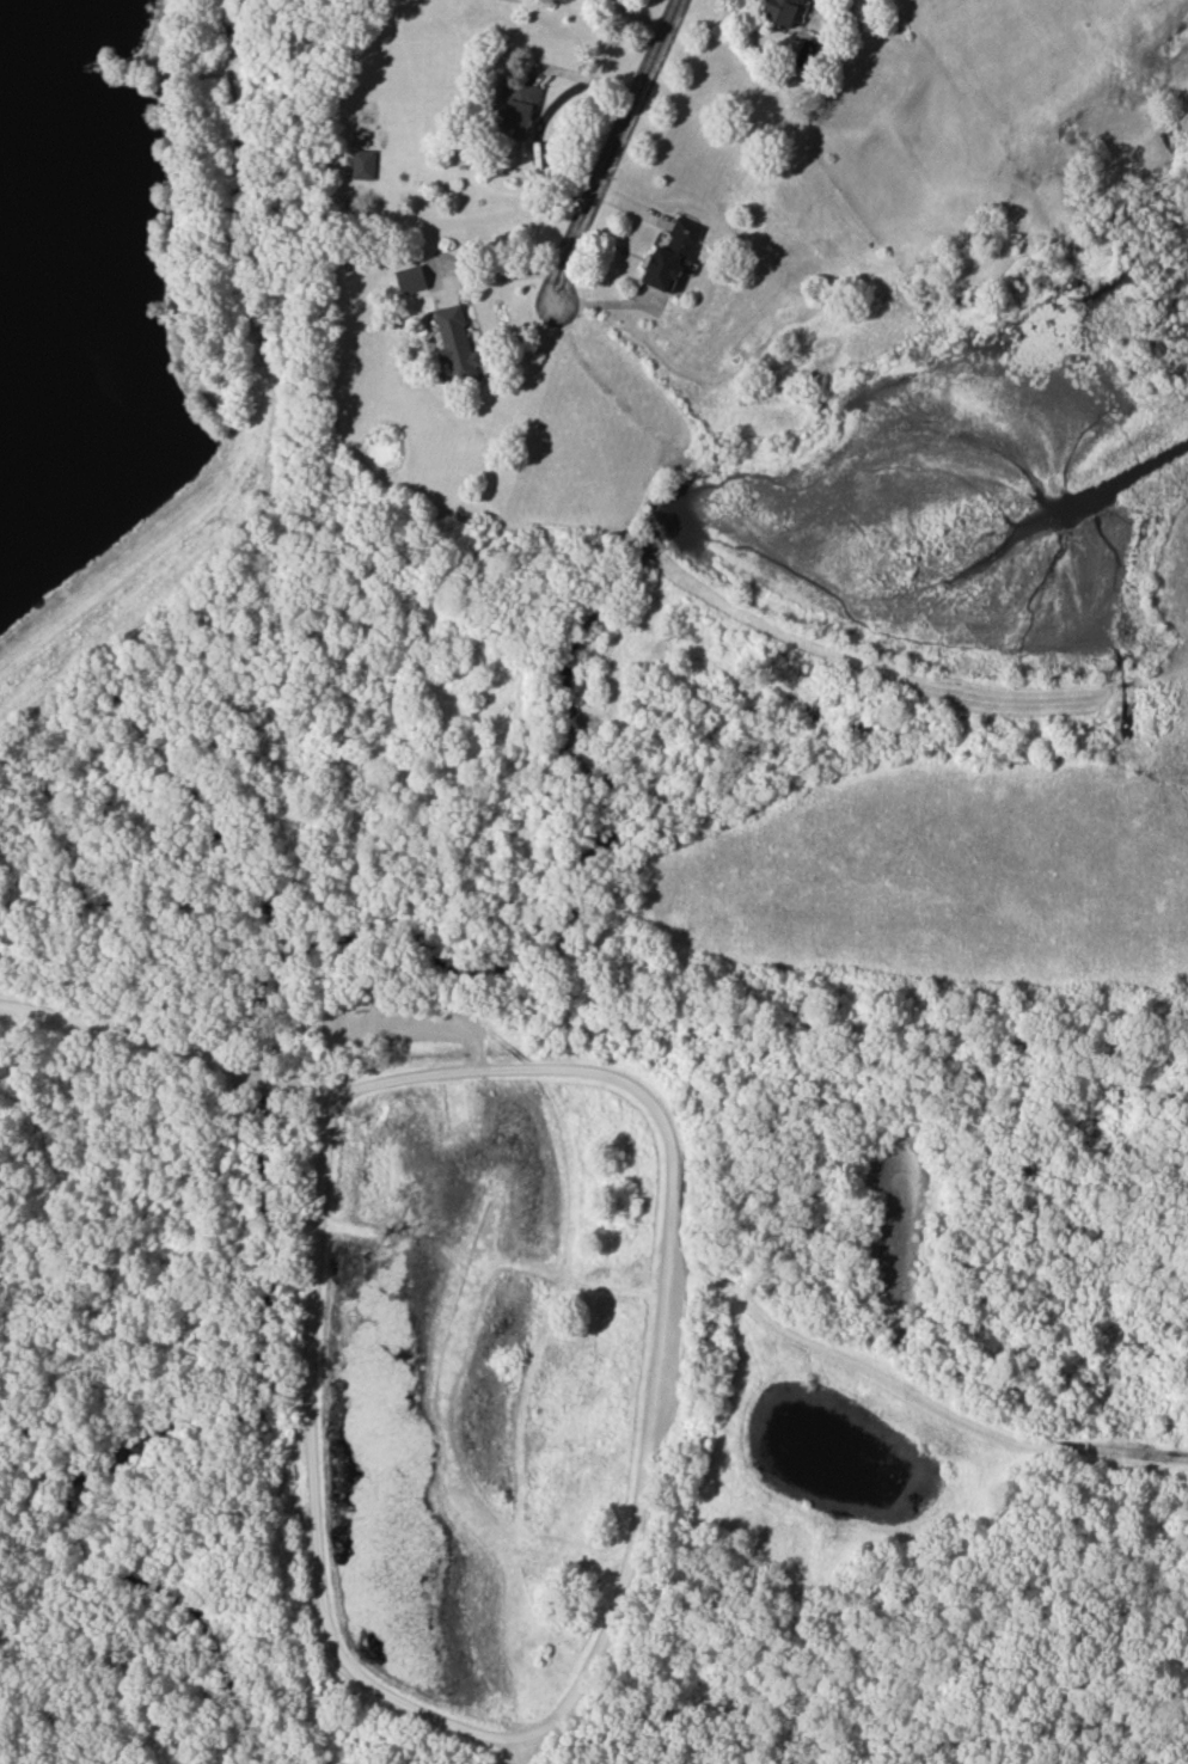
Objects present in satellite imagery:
building: (780, 12)
road: (639, 14)
building: (518, 109)
road: (611, 147)
building: (362, 165)
building: (670, 256)
road: (496, 277)
building: (409, 280)
building: (455, 343)
road: (269, 414)
road: (417, 1021)
parking lot: (434, 1029)
road: (166, 1046)
park: (478, 1149)
road: (63, 1582)
road: (596, 1649)
road: (518, 1756)
parking lot: (510, 1763)

